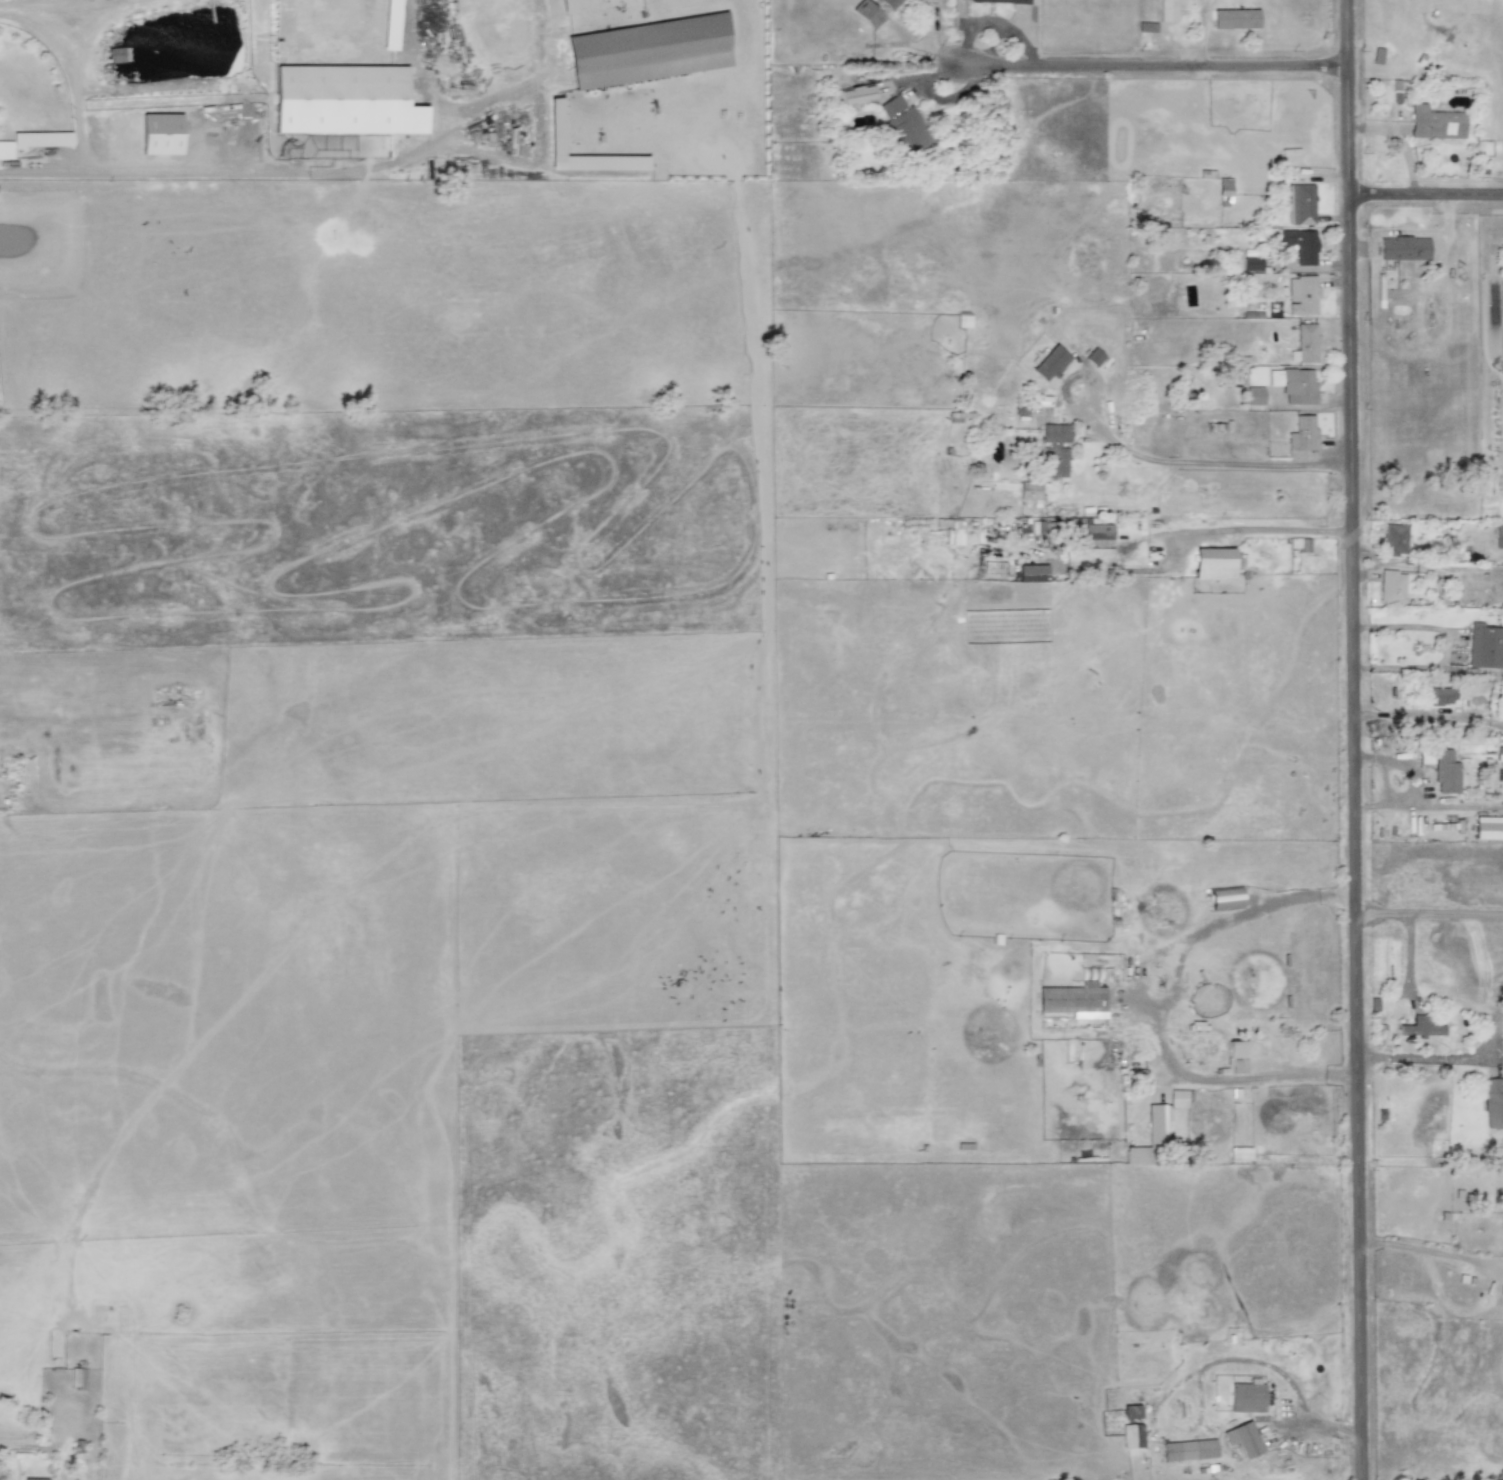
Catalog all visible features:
building: (1002, 1)
building: (889, 3)
building: (566, 6)
building: (1167, 10)
building: (866, 13)
building: (1235, 19)
building: (390, 25)
road: (931, 41)
building: (648, 50)
road: (1155, 72)
road: (76, 73)
building: (856, 95)
building: (345, 100)
building: (1434, 122)
building: (555, 126)
building: (902, 126)
building: (169, 129)
building: (41, 138)
building: (5, 150)
road: (164, 175)
building: (1224, 191)
road: (1427, 196)
building: (1300, 204)
building: (1300, 245)
building: (1404, 248)
building: (1251, 260)
building: (1301, 295)
building: (1306, 342)
building: (1094, 357)
building: (1050, 363)
building: (1294, 384)
building: (1254, 396)
building: (1302, 434)
building: (1054, 449)
road: (1159, 459)
building: (1029, 490)
road: (1240, 528)
building: (1098, 532)
building: (1498, 536)
building: (1395, 540)
road: (1365, 553)
building: (1213, 564)
road: (1424, 566)
road: (1365, 569)
building: (1032, 573)
building: (1391, 587)
road: (1443, 643)
building: (1485, 645)
building: (1441, 696)
road: (1430, 714)
road: (1357, 739)
building: (1446, 772)
building: (1488, 776)
building: (1489, 826)
building: (1225, 898)
road: (1430, 915)
building: (1090, 973)
building: (1071, 999)
road: (1142, 999)
building: (1419, 1027)
building: (1236, 1056)
road: (1444, 1056)
building: (1178, 1098)
building: (1493, 1103)
building: (1161, 1120)
building: (77, 1378)
building: (1246, 1397)
building: (1130, 1413)
building: (1132, 1436)
building: (1243, 1439)
road: (24, 1448)
building: (1189, 1450)
building: (34, 1478)

